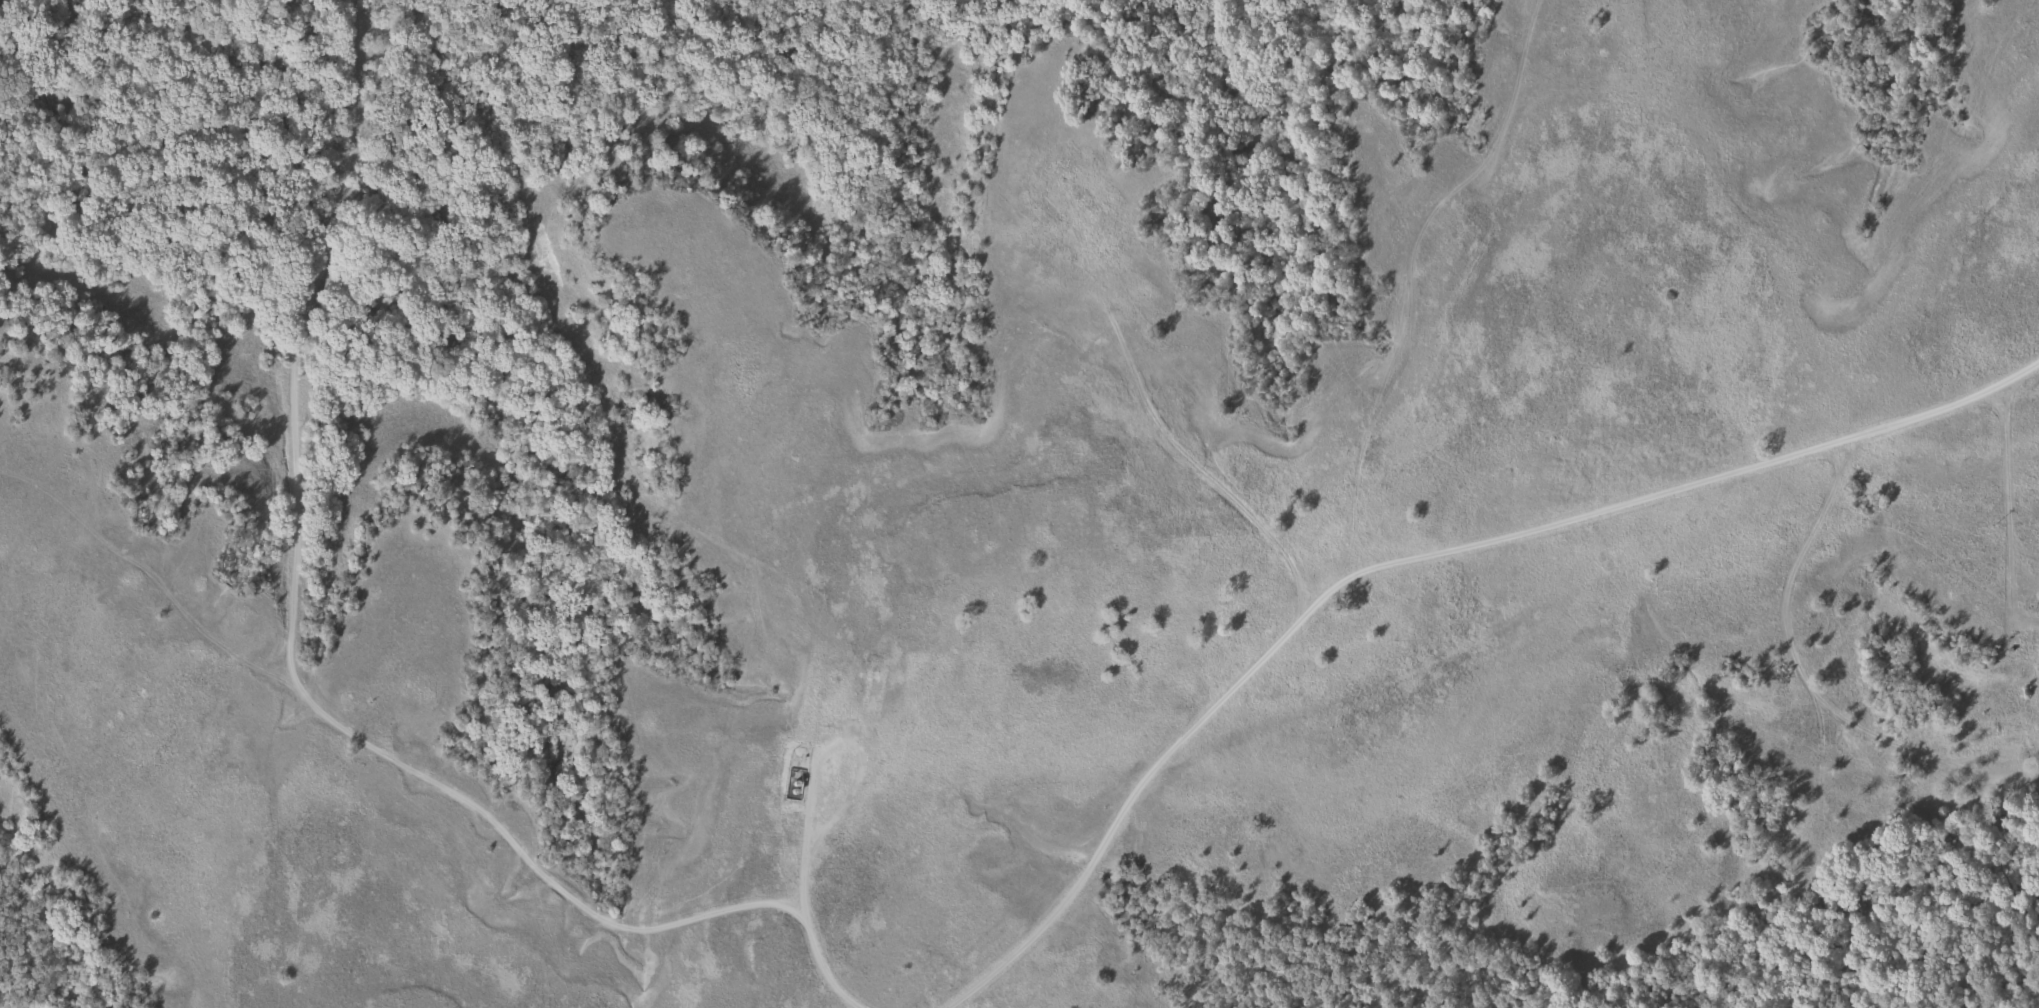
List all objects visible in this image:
road: (1475, 665)

